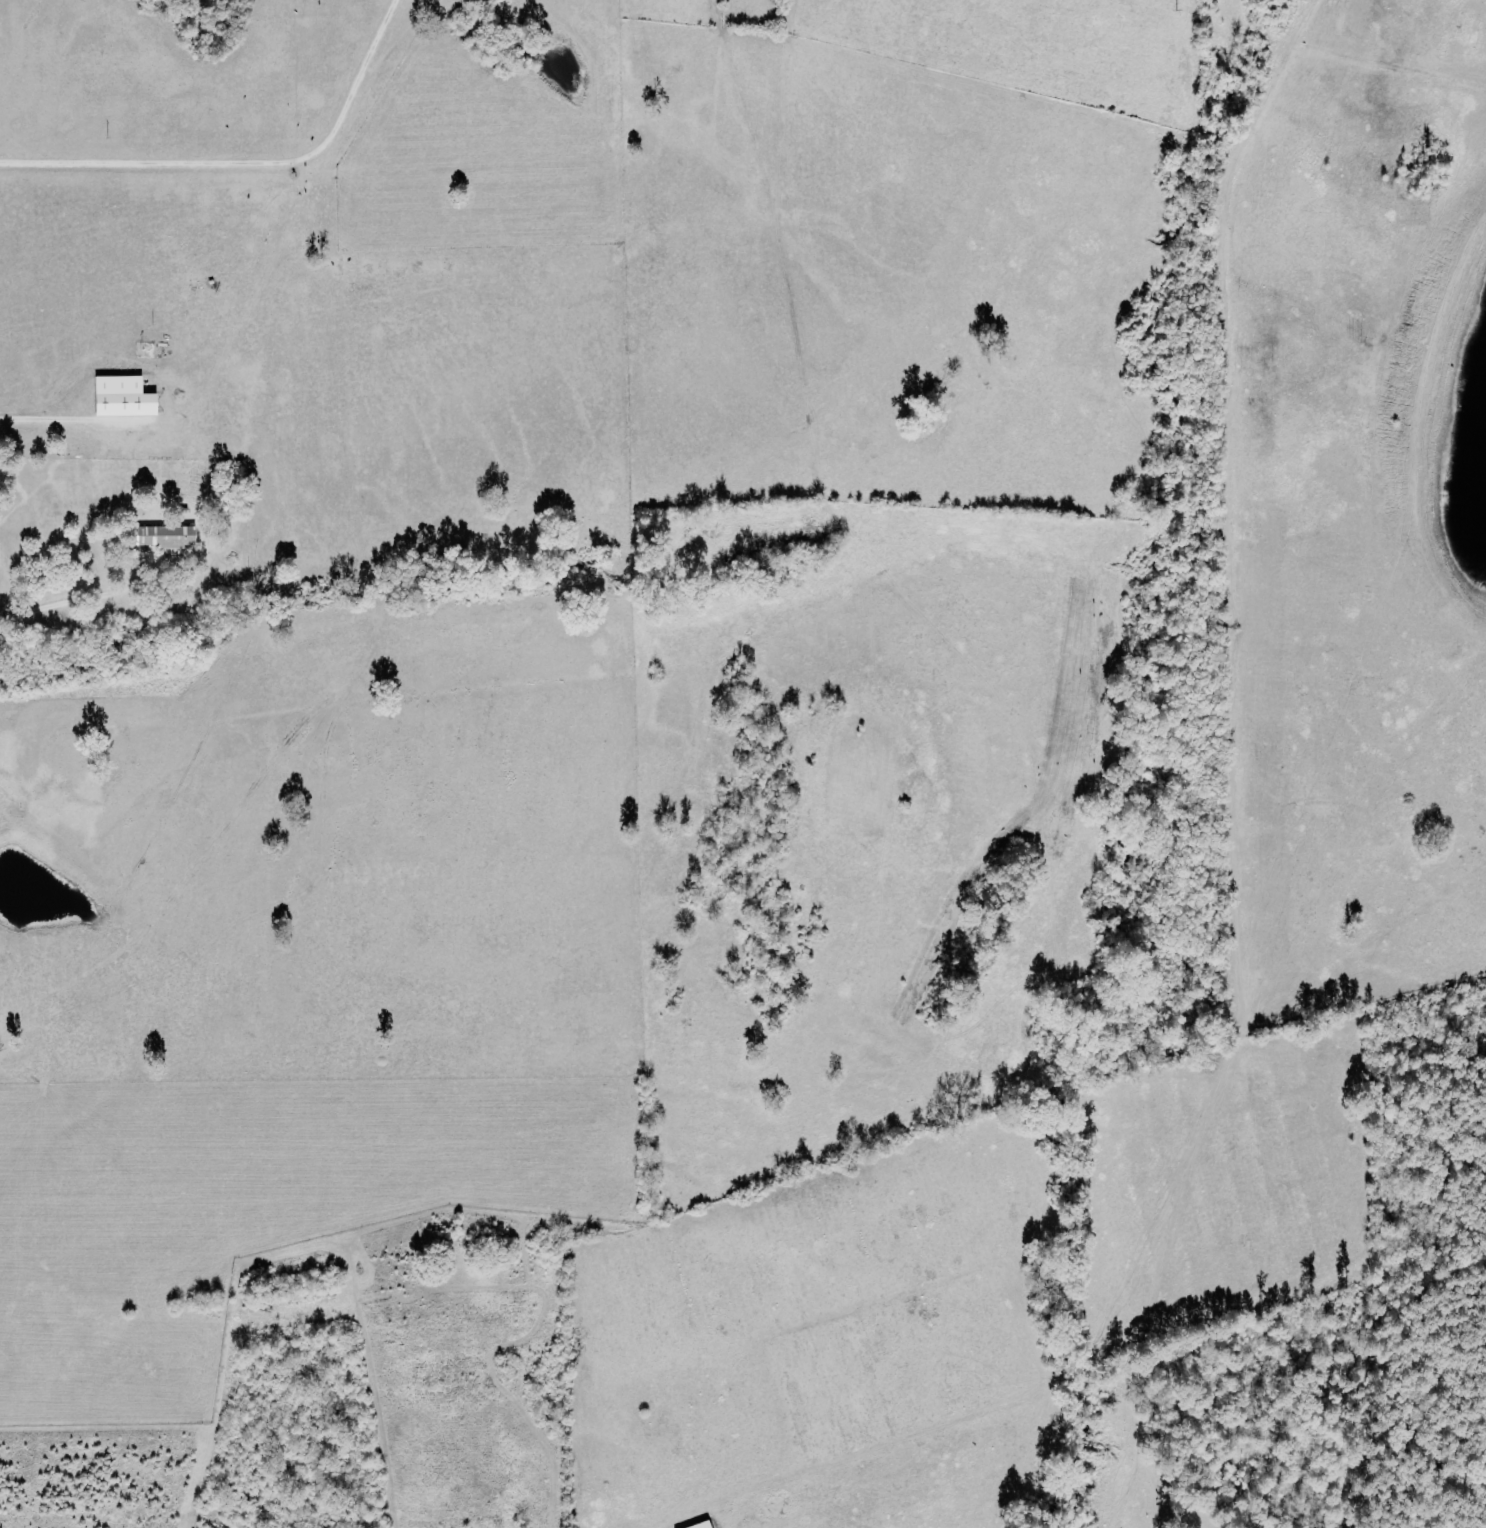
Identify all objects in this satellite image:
road: (246, 163)
building: (129, 398)
building: (172, 537)
road: (73, 600)
building: (696, 1525)

